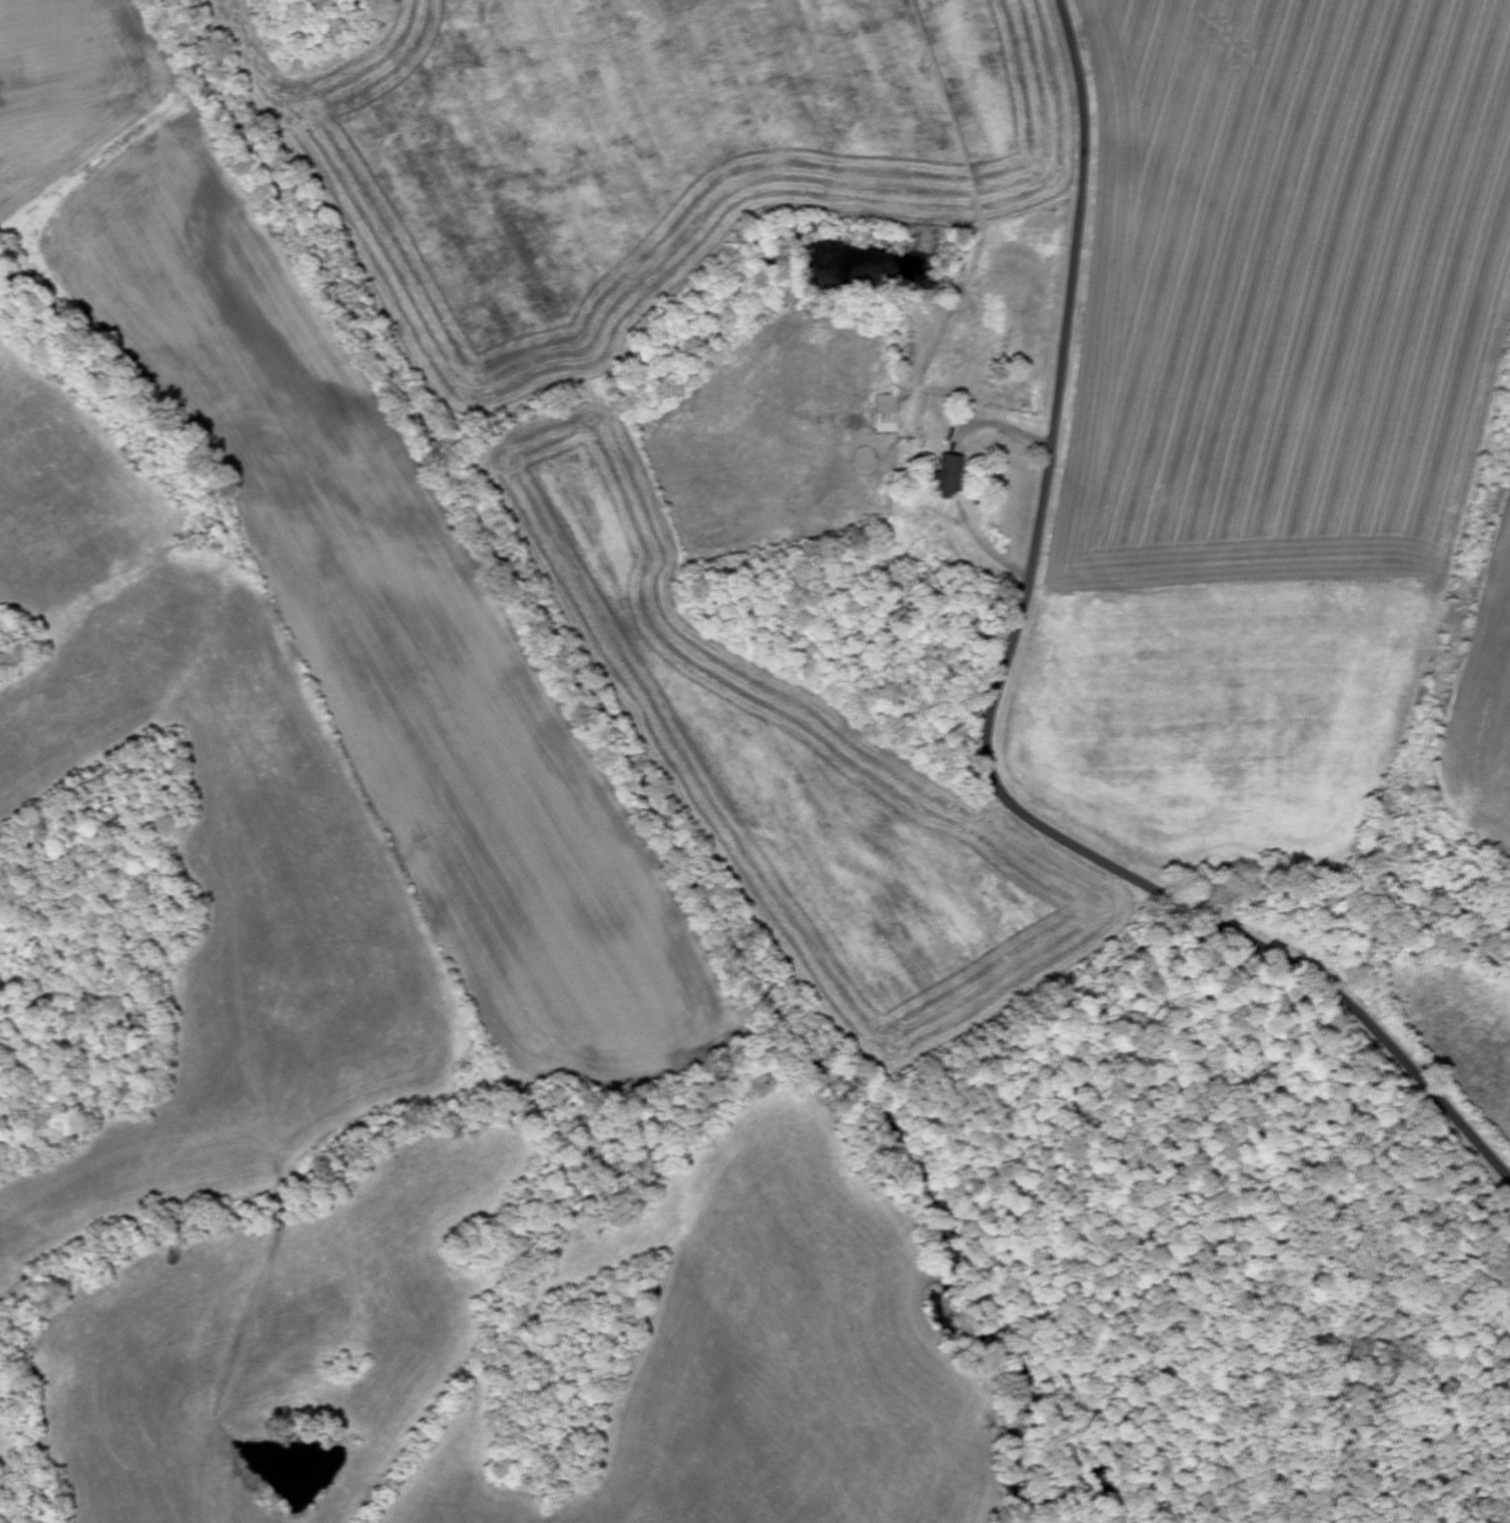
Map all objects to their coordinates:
building: (948, 477)
road: (990, 715)

